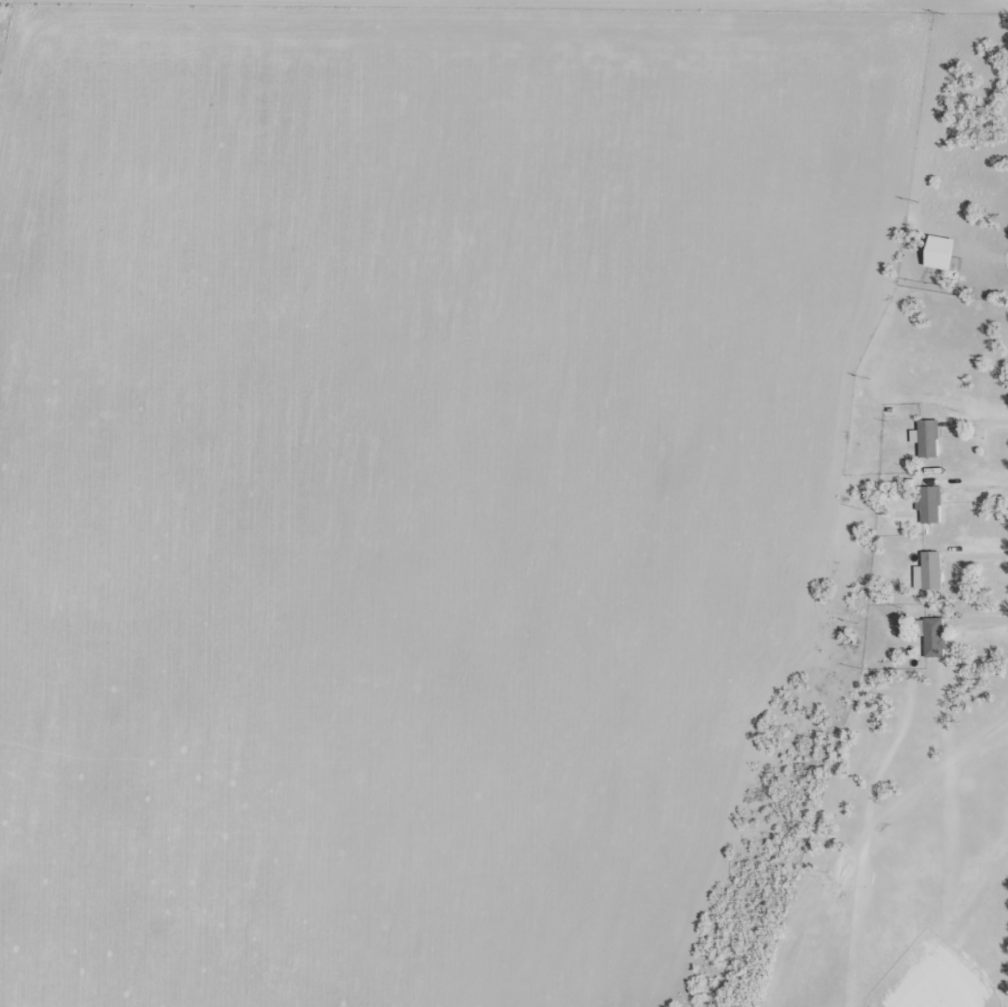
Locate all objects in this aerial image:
building: (938, 252)
building: (925, 438)
building: (929, 504)
building: (927, 571)
building: (930, 635)

